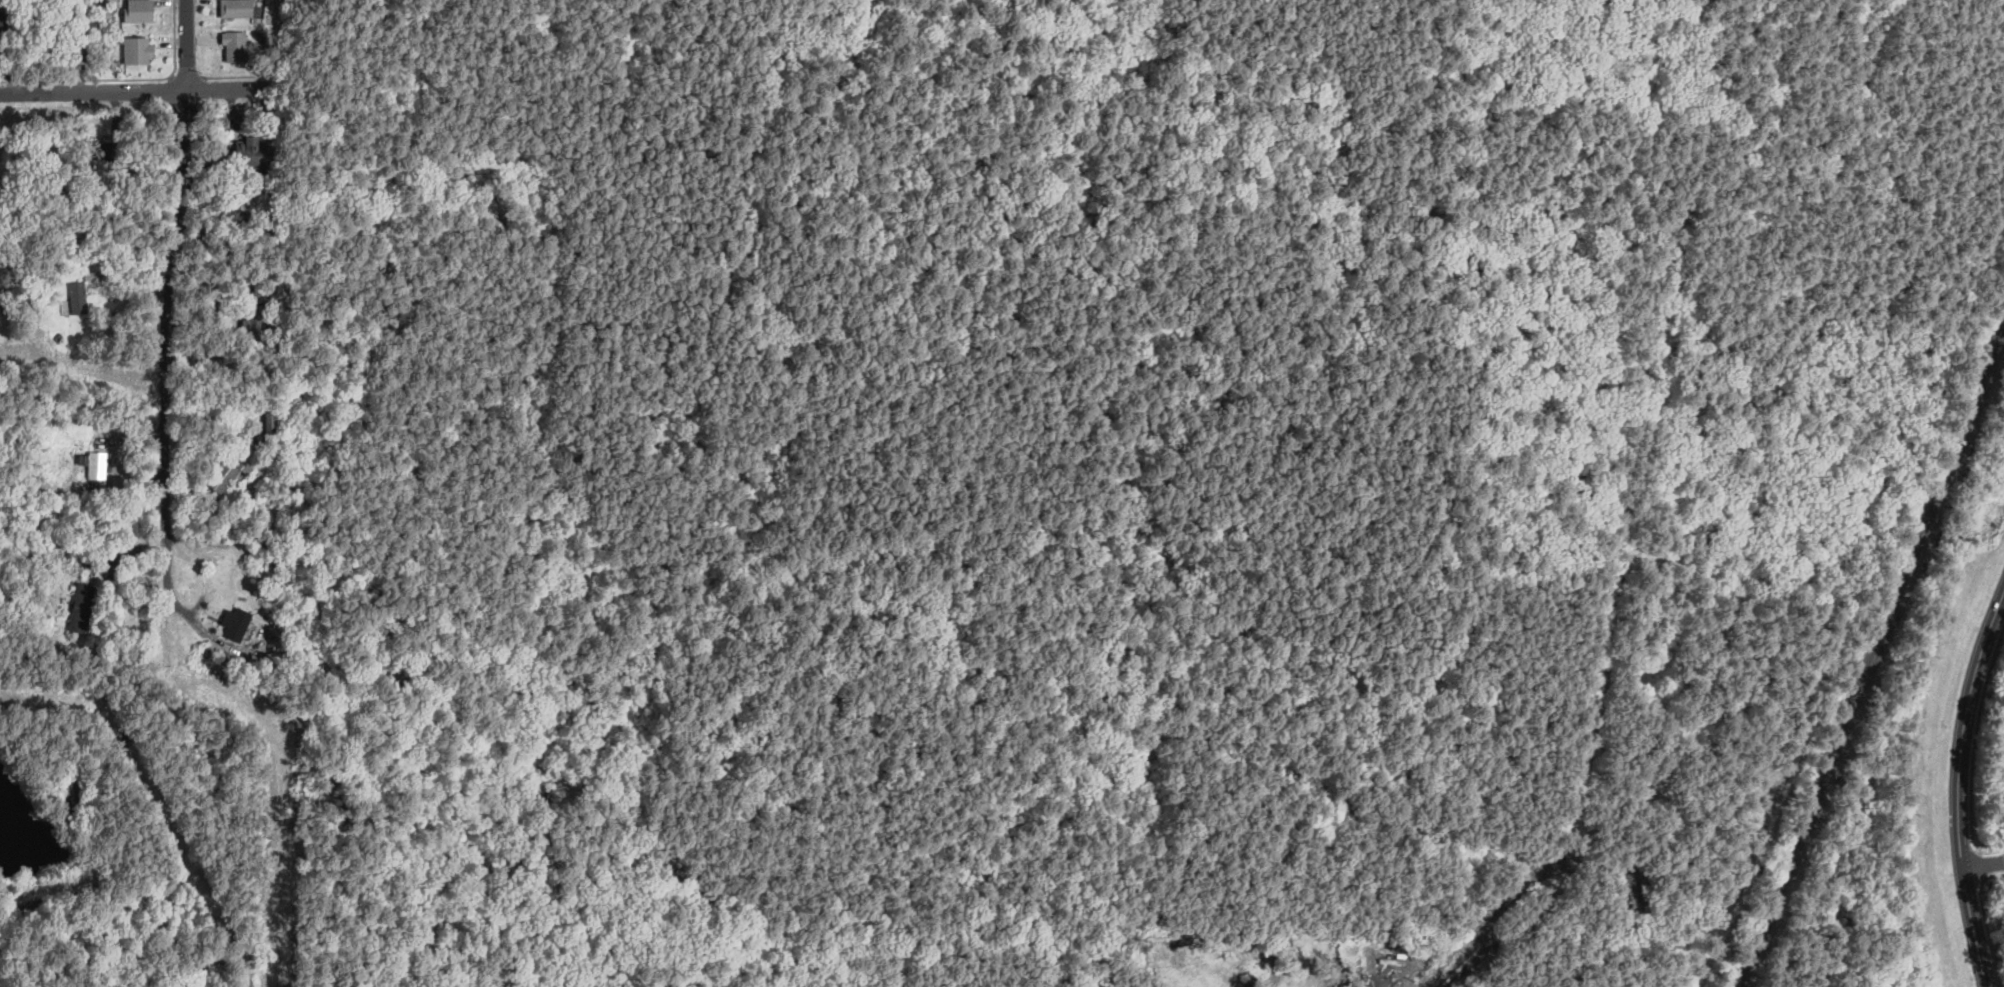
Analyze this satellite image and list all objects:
building: (236, 7)
building: (139, 10)
building: (0, 13)
road: (189, 43)
road: (83, 44)
building: (235, 45)
building: (136, 49)
road: (383, 77)
road: (133, 88)
road: (1013, 100)
road: (1998, 112)
building: (97, 150)
building: (209, 154)
building: (254, 155)
building: (246, 174)
building: (233, 180)
building: (275, 189)
road: (1735, 192)
building: (246, 194)
building: (0, 207)
building: (78, 298)
building: (1, 312)
road: (748, 323)
building: (255, 325)
road: (167, 361)
building: (269, 429)
building: (284, 437)
building: (284, 445)
building: (280, 455)
road: (1638, 455)
building: (97, 465)
building: (231, 471)
building: (245, 511)
road: (1123, 580)
building: (82, 608)
building: (238, 624)
building: (263, 647)
street lamp: (2001, 648)
building: (254, 653)
railway: (1874, 657)
building: (276, 659)
road: (1900, 725)
road: (1274, 734)
street lamp: (1980, 735)
road: (1974, 750)
road: (1284, 775)
road: (1958, 786)
building: (70, 797)
street lamp: (1976, 832)
road: (1980, 864)
road: (1983, 864)
street lamp: (1990, 877)
building: (1639, 898)
road: (1504, 912)
street lamp: (1992, 920)
road: (1989, 933)
building: (1399, 955)
road: (1458, 958)
road: (1472, 961)

